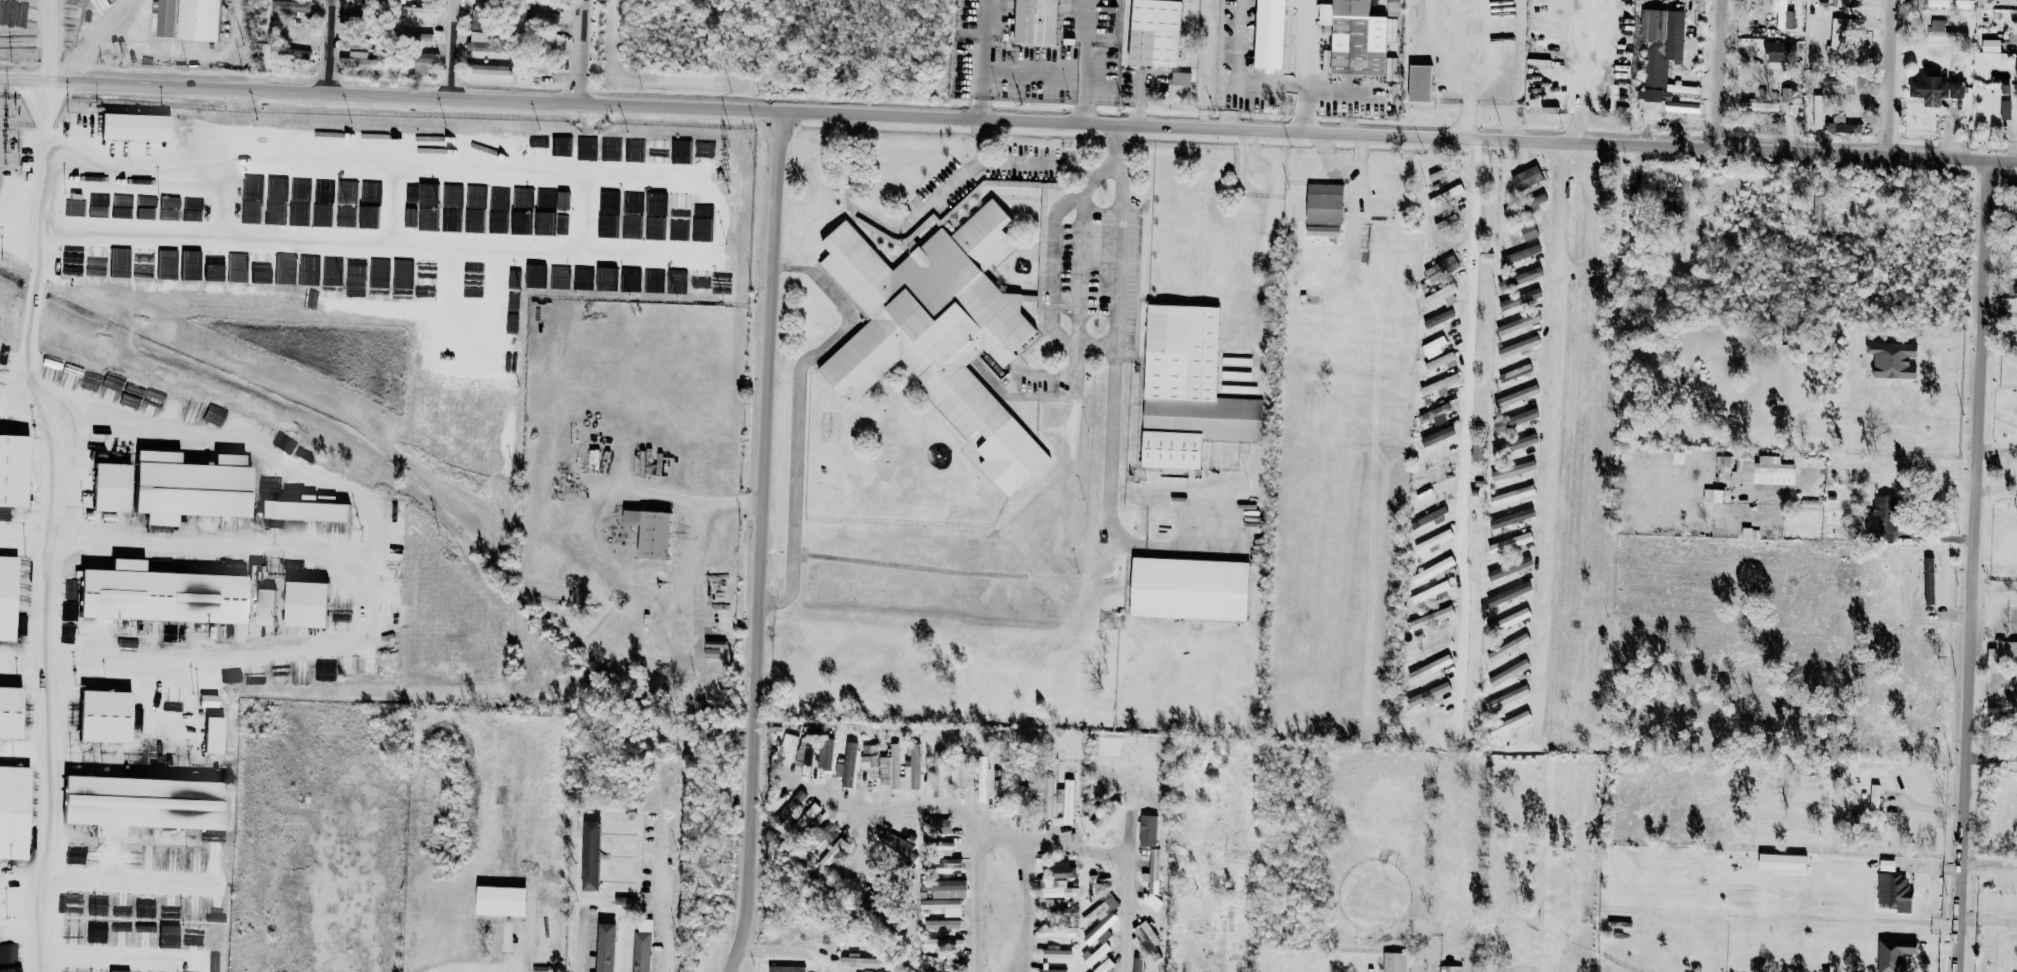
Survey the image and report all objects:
building: (360, 1)
building: (535, 1)
road: (134, 3)
building: (1951, 4)
building: (290, 6)
building: (1353, 8)
building: (416, 13)
building: (16, 14)
building: (69, 14)
building: (477, 14)
building: (167, 17)
building: (541, 18)
building: (201, 19)
building: (1036, 22)
building: (477, 26)
building: (288, 30)
building: (1156, 32)
building: (1944, 32)
building: (1271, 33)
building: (480, 37)
building: (548, 38)
building: (1836, 39)
road: (46, 40)
building: (354, 42)
building: (478, 46)
building: (1991, 46)
road: (93, 47)
road: (334, 47)
road: (459, 49)
road: (580, 51)
building: (1778, 54)
road: (1467, 55)
building: (296, 56)
road: (980, 60)
road: (1086, 61)
building: (1665, 61)
building: (424, 62)
building: (353, 63)
building: (538, 65)
road: (1240, 65)
road: (1307, 66)
building: (491, 70)
road: (1725, 74)
road: (1894, 77)
building: (1421, 82)
building: (1181, 85)
building: (1936, 91)
building: (1788, 95)
road: (1365, 98)
road: (1508, 100)
building: (1751, 105)
building: (2005, 110)
building: (1818, 112)
road: (1008, 121)
building: (134, 126)
building: (537, 145)
building: (609, 148)
building: (633, 149)
road: (1123, 149)
building: (656, 150)
building: (679, 151)
building: (1437, 175)
building: (1526, 179)
building: (276, 188)
building: (449, 188)
building: (299, 189)
building: (346, 191)
road: (1822, 192)
road: (1363, 193)
building: (1446, 195)
road: (1122, 196)
building: (123, 200)
building: (1537, 200)
building: (321, 201)
building: (608, 201)
building: (632, 201)
building: (427, 207)
building: (74, 208)
building: (497, 209)
building: (1324, 210)
building: (97, 211)
building: (250, 211)
building: (120, 212)
building: (274, 213)
building: (1818, 214)
building: (297, 218)
building: (473, 220)
building: (451, 223)
building: (653, 227)
building: (677, 228)
building: (630, 231)
building: (1528, 231)
road: (905, 235)
building: (1520, 253)
building: (2015, 257)
building: (73, 260)
building: (144, 263)
building: (167, 264)
building: (190, 264)
building: (238, 266)
building: (95, 267)
building: (284, 268)
building: (1441, 268)
building: (307, 269)
building: (332, 270)
building: (213, 271)
building: (354, 271)
building: (378, 272)
building: (122, 273)
road: (1048, 273)
building: (425, 274)
building: (260, 276)
building: (559, 277)
building: (582, 277)
building: (1519, 278)
building: (652, 280)
building: (699, 282)
building: (672, 284)
building: (1442, 296)
building: (1520, 299)
road: (2001, 312)
building: (1438, 318)
building: (1518, 323)
building: (939, 329)
building: (425, 330)
building: (468, 334)
road: (1955, 343)
building: (1434, 346)
building: (1519, 347)
building: (424, 354)
building: (466, 356)
building: (1893, 359)
building: (1237, 361)
building: (1440, 361)
building: (51, 368)
building: (1515, 372)
building: (1236, 374)
building: (424, 378)
building: (111, 384)
building: (1439, 384)
building: (1188, 388)
building: (1239, 388)
building: (1516, 396)
building: (420, 400)
road: (1076, 407)
road: (796, 411)
building: (1433, 412)
road: (1112, 413)
road: (1553, 415)
building: (1439, 418)
building: (1515, 419)
building: (418, 425)
road: (1468, 429)
building: (1434, 436)
building: (1516, 443)
building: (1477, 451)
building: (446, 453)
building: (1677, 457)
building: (593, 460)
building: (1723, 464)
road: (1890, 467)
building: (13, 469)
building: (1513, 470)
building: (1763, 471)
building: (110, 486)
building: (191, 489)
building: (1512, 495)
building: (1713, 495)
building: (304, 509)
building: (4, 513)
building: (1431, 515)
building: (1511, 518)
building: (1882, 518)
road: (51, 523)
building: (408, 527)
building: (650, 532)
road: (602, 538)
building: (1432, 540)
building: (1510, 542)
road: (766, 543)
road: (210, 546)
road: (369, 547)
road: (1974, 565)
building: (1509, 568)
building: (1431, 571)
building: (1929, 580)
building: (1190, 588)
building: (1430, 591)
building: (159, 594)
building: (1508, 594)
road: (1995, 596)
building: (7, 597)
building: (305, 603)
building: (264, 606)
building: (1432, 617)
building: (1509, 620)
building: (1435, 640)
building: (1508, 647)
building: (2003, 653)
building: (1430, 670)
building: (1508, 672)
building: (299, 673)
building: (322, 673)
building: (1428, 694)
building: (1507, 698)
building: (207, 700)
building: (10, 712)
building: (105, 716)
building: (135, 717)
building: (1509, 723)
building: (788, 746)
building: (1115, 747)
building: (824, 753)
building: (892, 758)
building: (804, 759)
building: (870, 763)
building: (846, 764)
building: (958, 773)
building: (938, 774)
building: (982, 778)
building: (1004, 782)
road: (972, 793)
building: (1027, 793)
building: (1045, 795)
building: (1874, 797)
road: (833, 798)
building: (1066, 800)
building: (143, 804)
building: (792, 804)
road: (907, 806)
building: (13, 812)
building: (806, 818)
building: (904, 822)
building: (938, 825)
building: (1148, 830)
building: (211, 835)
building: (934, 845)
road: (1066, 845)
building: (900, 846)
building: (832, 852)
building: (590, 855)
road: (1992, 861)
building: (1791, 862)
building: (944, 864)
road: (1130, 868)
building: (1063, 870)
building: (1153, 876)
road: (664, 879)
building: (1091, 883)
building: (945, 888)
building: (1054, 889)
building: (1894, 890)
road: (972, 893)
road: (383, 894)
road: (1028, 900)
building: (500, 902)
building: (628, 903)
building: (73, 904)
building: (943, 906)
building: (97, 907)
building: (1051, 907)
building: (194, 908)
building: (145, 909)
building: (169, 909)
building: (215, 910)
building: (881, 916)
building: (1229, 917)
building: (1102, 918)
building: (942, 924)
building: (73, 926)
building: (1059, 930)
building: (95, 931)
building: (169, 931)
building: (144, 936)
building: (192, 938)
building: (1145, 938)
road: (525, 944)
building: (943, 944)
building: (604, 947)
road: (790, 951)
building: (1238, 951)
building: (640, 952)
building: (1054, 952)
building: (1100, 952)
building: (4, 953)
building: (1894, 954)
road: (585, 957)
building: (860, 962)
building: (1394, 962)
building: (941, 965)
building: (1104, 966)
building: (1149, 968)
building: (1450, 968)
road: (461, 969)
building: (785, 969)
building: (15, 970)
building: (1053, 970)

